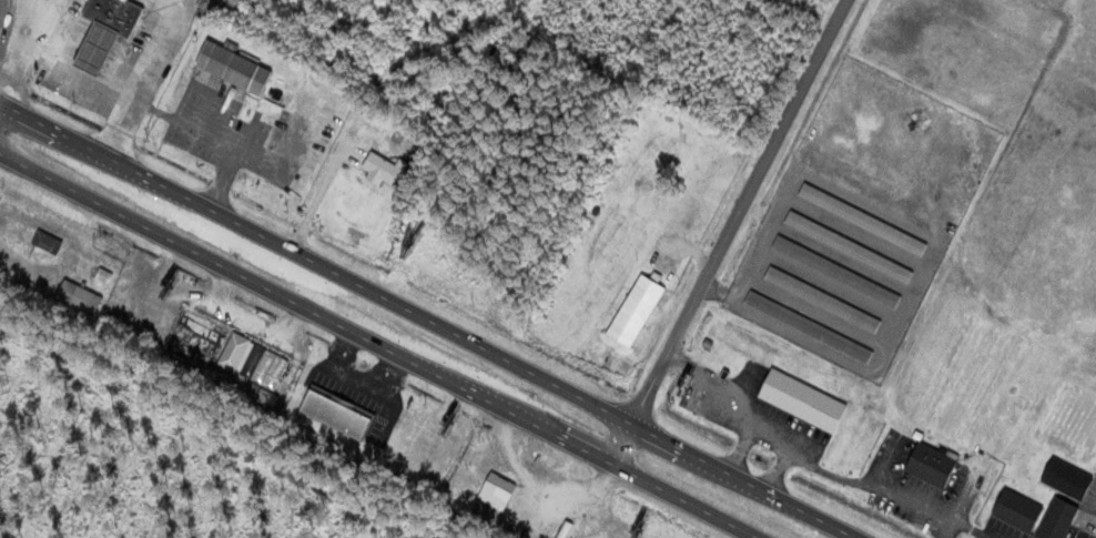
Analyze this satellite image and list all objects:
building: (113, 16)
building: (1, 17)
building: (233, 69)
road: (0, 105)
building: (405, 136)
building: (384, 170)
building: (862, 220)
road: (719, 233)
building: (47, 242)
building: (849, 247)
building: (79, 298)
building: (822, 301)
building: (635, 312)
road: (425, 321)
building: (809, 328)
building: (196, 333)
road: (377, 346)
building: (253, 362)
building: (802, 402)
building: (335, 414)
building: (931, 464)
building: (1017, 510)

